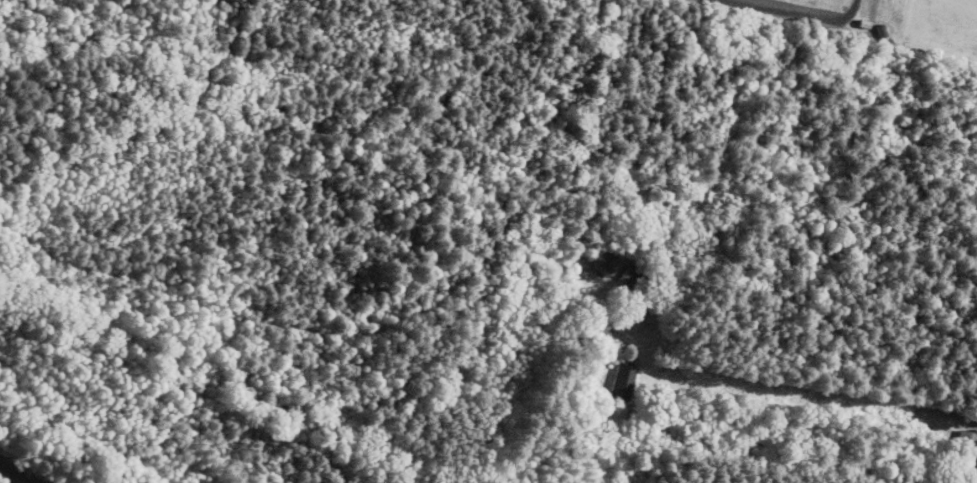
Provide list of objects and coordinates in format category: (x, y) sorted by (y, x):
building: (625, 382)
road: (826, 401)
building: (968, 441)
railway: (14, 474)

